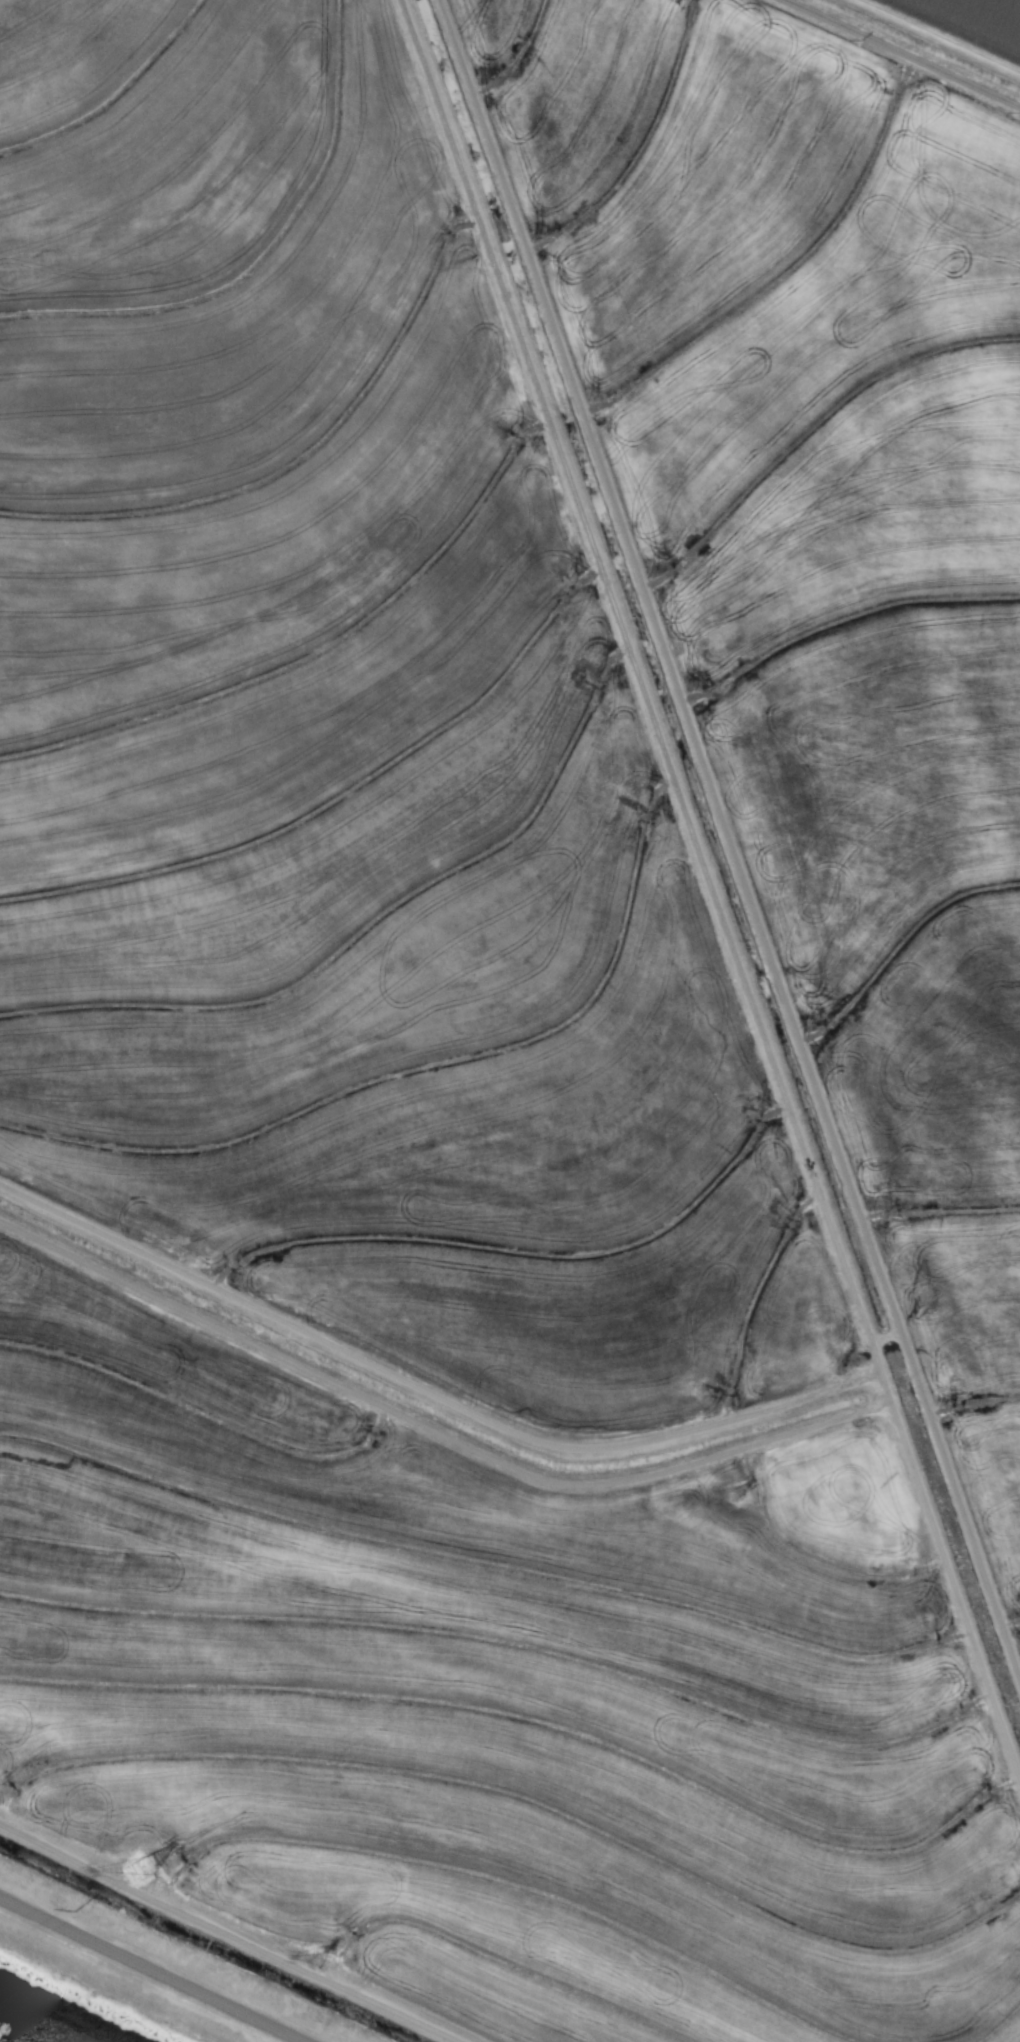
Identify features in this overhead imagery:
crop: (516, 1003)
power tower: (740, 1498)
power tower: (145, 1878)
power tower: (321, 1955)
road: (144, 1973)

